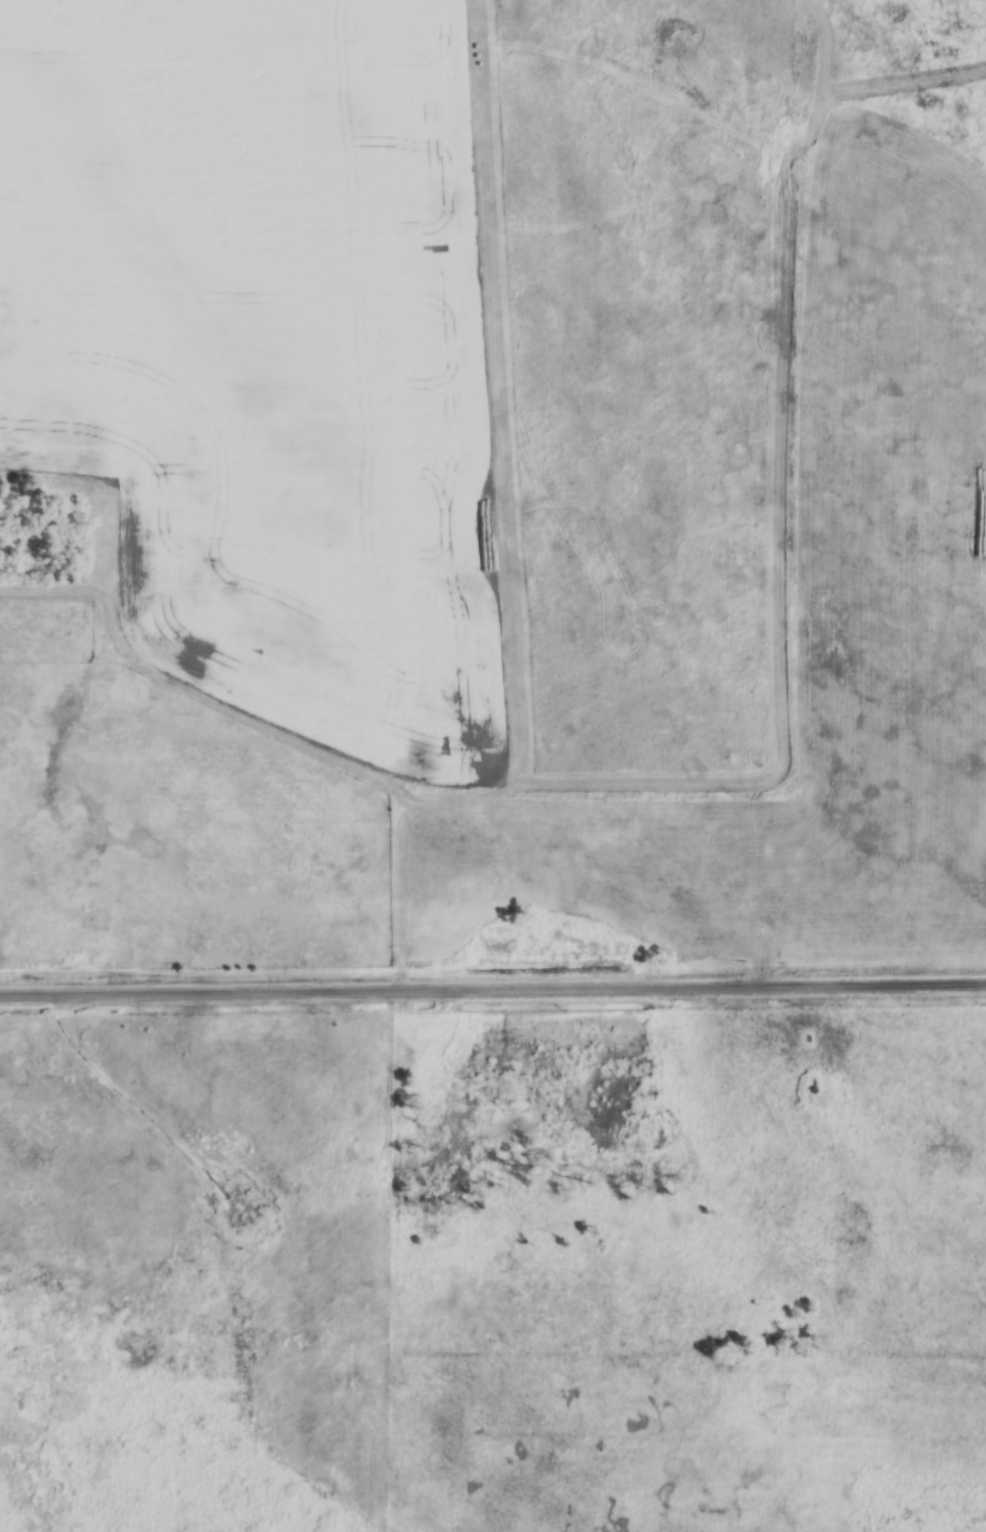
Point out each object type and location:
road: (493, 983)

